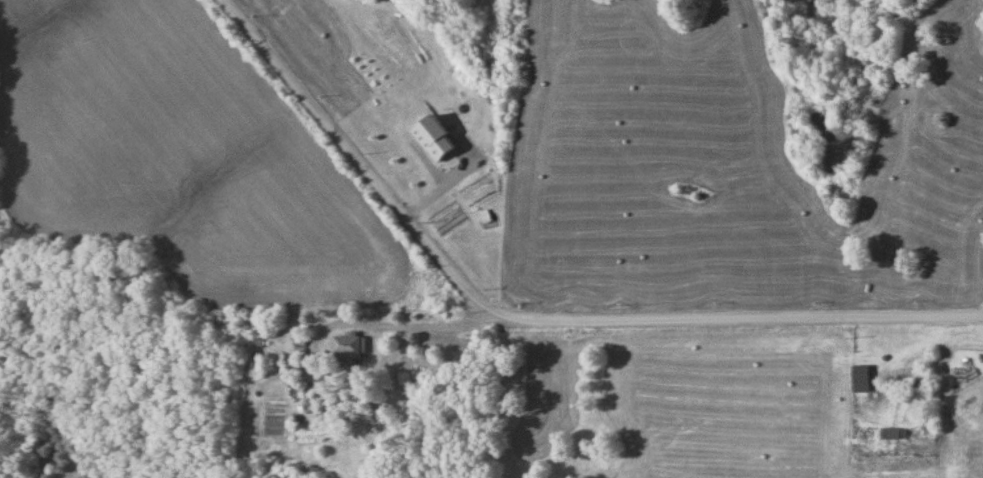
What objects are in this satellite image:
park: (821, 24)
road: (510, 166)
road: (530, 321)
road: (425, 330)
building: (349, 348)
building: (864, 379)
building: (323, 415)
building: (895, 433)

